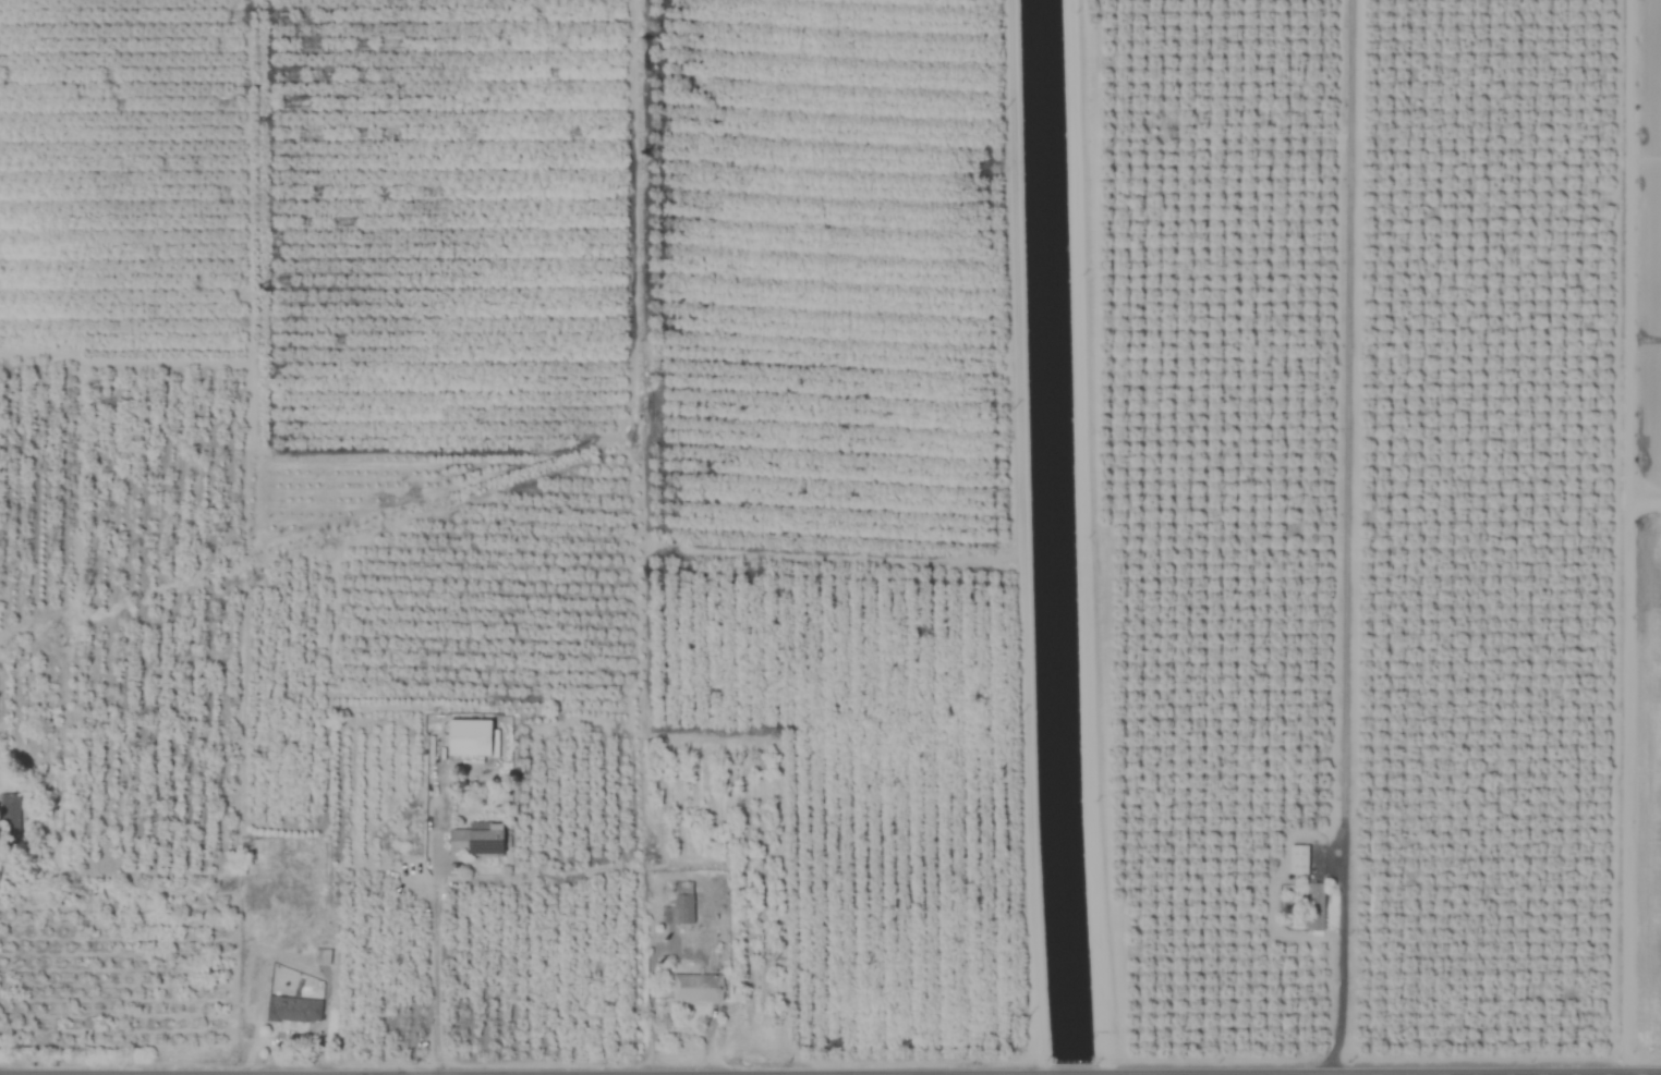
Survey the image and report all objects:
building: (462, 745)
building: (9, 819)
building: (478, 841)
building: (1299, 859)
building: (681, 905)
building: (1316, 907)
building: (320, 956)
road: (432, 961)
road: (1339, 968)
building: (696, 988)
building: (295, 1010)
road: (1378, 1070)
road: (1072, 1072)
road: (998, 1074)

